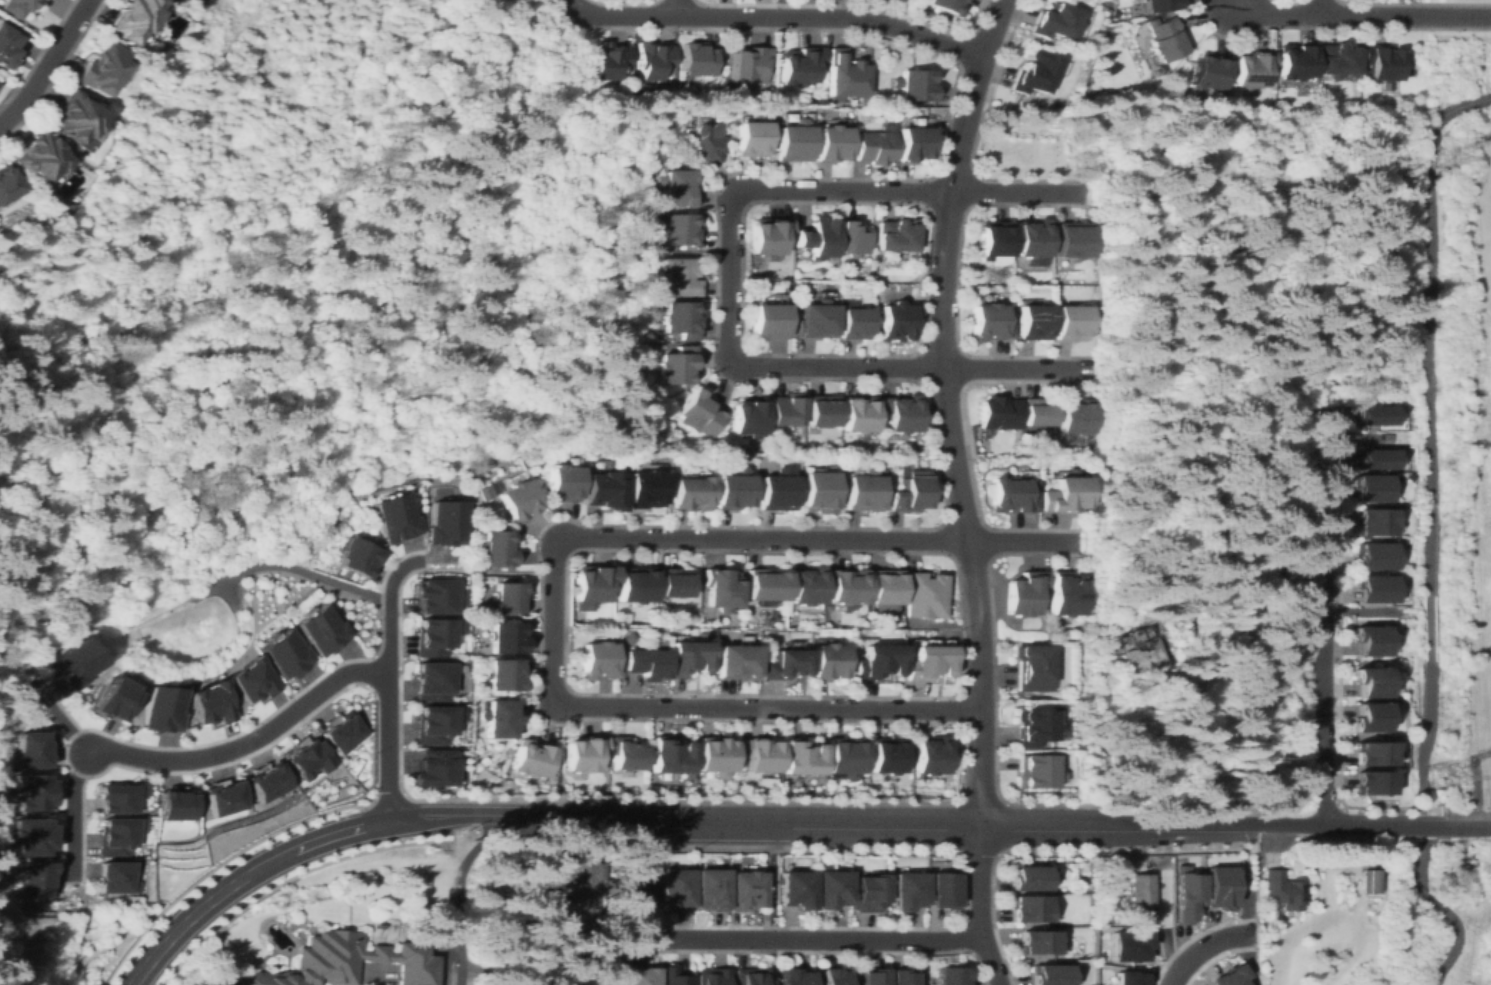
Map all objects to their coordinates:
building: (1159, 5)
building: (949, 6)
building: (16, 7)
road: (678, 7)
road: (1317, 7)
building: (1114, 13)
road: (1358, 14)
road: (618, 15)
road: (831, 18)
building: (131, 19)
building: (1055, 20)
building: (1164, 39)
building: (6, 44)
building: (699, 58)
building: (654, 59)
building: (610, 60)
building: (1337, 60)
building: (1295, 61)
building: (1382, 62)
road: (46, 64)
building: (751, 64)
building: (800, 65)
building: (100, 69)
building: (1252, 69)
road: (52, 70)
building: (1035, 72)
building: (1210, 72)
building: (846, 75)
building: (916, 85)
building: (75, 116)
building: (751, 138)
building: (793, 141)
building: (831, 143)
building: (913, 143)
building: (703, 144)
building: (873, 146)
building: (38, 156)
power tower: (1437, 159)
road: (244, 170)
building: (6, 183)
building: (676, 187)
road: (1018, 193)
building: (681, 229)
building: (769, 235)
building: (896, 235)
building: (818, 238)
building: (853, 238)
building: (1032, 238)
building: (994, 239)
building: (1072, 239)
road: (686, 252)
road: (730, 273)
building: (680, 277)
road: (715, 296)
building: (682, 318)
building: (770, 320)
building: (815, 320)
building: (896, 321)
building: (1035, 321)
building: (1070, 321)
building: (854, 322)
building: (989, 323)
road: (1426, 324)
building: (677, 366)
road: (1017, 369)
road: (947, 406)
building: (784, 410)
building: (822, 411)
building: (899, 412)
building: (1037, 412)
building: (697, 413)
building: (998, 413)
building: (857, 414)
building: (1075, 415)
building: (1376, 415)
building: (747, 418)
road: (1357, 439)
building: (1376, 459)
building: (562, 483)
building: (644, 488)
building: (1370, 488)
building: (731, 489)
building: (603, 490)
building: (774, 490)
building: (817, 490)
building: (908, 490)
building: (864, 491)
building: (689, 492)
building: (1013, 495)
building: (1065, 495)
building: (518, 499)
building: (400, 515)
building: (1374, 521)
building: (450, 527)
road: (762, 539)
road: (1023, 542)
building: (497, 548)
building: (362, 555)
building: (1375, 556)
road: (289, 568)
building: (593, 582)
building: (674, 582)
building: (636, 584)
building: (765, 585)
building: (805, 585)
building: (846, 585)
building: (885, 587)
building: (721, 588)
building: (1375, 589)
road: (227, 594)
building: (925, 594)
building: (1025, 594)
building: (1066, 594)
building: (439, 596)
building: (508, 598)
road: (387, 607)
road: (1361, 611)
road: (1324, 616)
road: (1428, 627)
building: (325, 630)
building: (435, 637)
building: (505, 637)
building: (1371, 640)
building: (1142, 650)
building: (288, 655)
building: (597, 658)
building: (687, 658)
building: (735, 660)
building: (827, 660)
building: (878, 661)
building: (929, 662)
building: (77, 663)
building: (643, 663)
building: (784, 664)
building: (1032, 667)
building: (503, 674)
building: (253, 680)
building: (434, 681)
building: (1370, 681)
building: (115, 699)
building: (211, 703)
building: (162, 708)
road: (689, 708)
road: (56, 715)
building: (1371, 717)
building: (499, 718)
building: (436, 723)
building: (1032, 726)
building: (344, 733)
road: (1424, 739)
road: (245, 743)
road: (388, 747)
building: (34, 749)
building: (1375, 752)
building: (584, 753)
building: (625, 753)
building: (760, 754)
building: (715, 755)
building: (886, 755)
building: (930, 755)
building: (671, 756)
building: (802, 757)
building: (845, 757)
building: (308, 758)
building: (531, 758)
road: (203, 768)
building: (436, 768)
building: (1035, 771)
power tower: (1429, 776)
building: (269, 781)
building: (1374, 783)
building: (37, 792)
building: (120, 797)
building: (226, 798)
road: (820, 801)
building: (176, 805)
road: (71, 815)
road: (556, 818)
road: (849, 819)
road: (1177, 820)
road: (1291, 823)
road: (1382, 825)
road: (1428, 825)
road: (1466, 826)
road: (81, 828)
building: (121, 836)
building: (37, 837)
road: (626, 843)
road: (297, 848)
road: (958, 850)
road: (1052, 851)
road: (309, 867)
road: (1242, 873)
building: (119, 878)
building: (1028, 878)
building: (39, 879)
building: (1370, 881)
building: (1219, 887)
building: (578, 888)
building: (645, 888)
building: (745, 888)
building: (831, 888)
building: (677, 889)
building: (795, 889)
building: (714, 890)
building: (906, 890)
building: (942, 890)
road: (458, 891)
building: (1282, 891)
building: (868, 892)
building: (1140, 894)
building: (1186, 895)
road: (982, 903)
building: (1029, 909)
road: (1441, 911)
park: (1435, 913)
road: (961, 916)
road: (974, 920)
road: (1198, 933)
road: (806, 940)
building: (1037, 942)
building: (1126, 945)
road: (1204, 946)
road: (1213, 956)
building: (1319, 960)
building: (342, 962)
road: (442, 963)
road: (67, 964)
building: (1050, 975)
building: (678, 976)
building: (832, 976)
building: (951, 976)
building: (1229, 976)
road: (371, 977)
building: (755, 977)
building: (795, 977)
building: (872, 977)
building: (900, 977)
building: (1125, 977)
building: (637, 978)
building: (714, 978)
power tower: (1490, 980)

